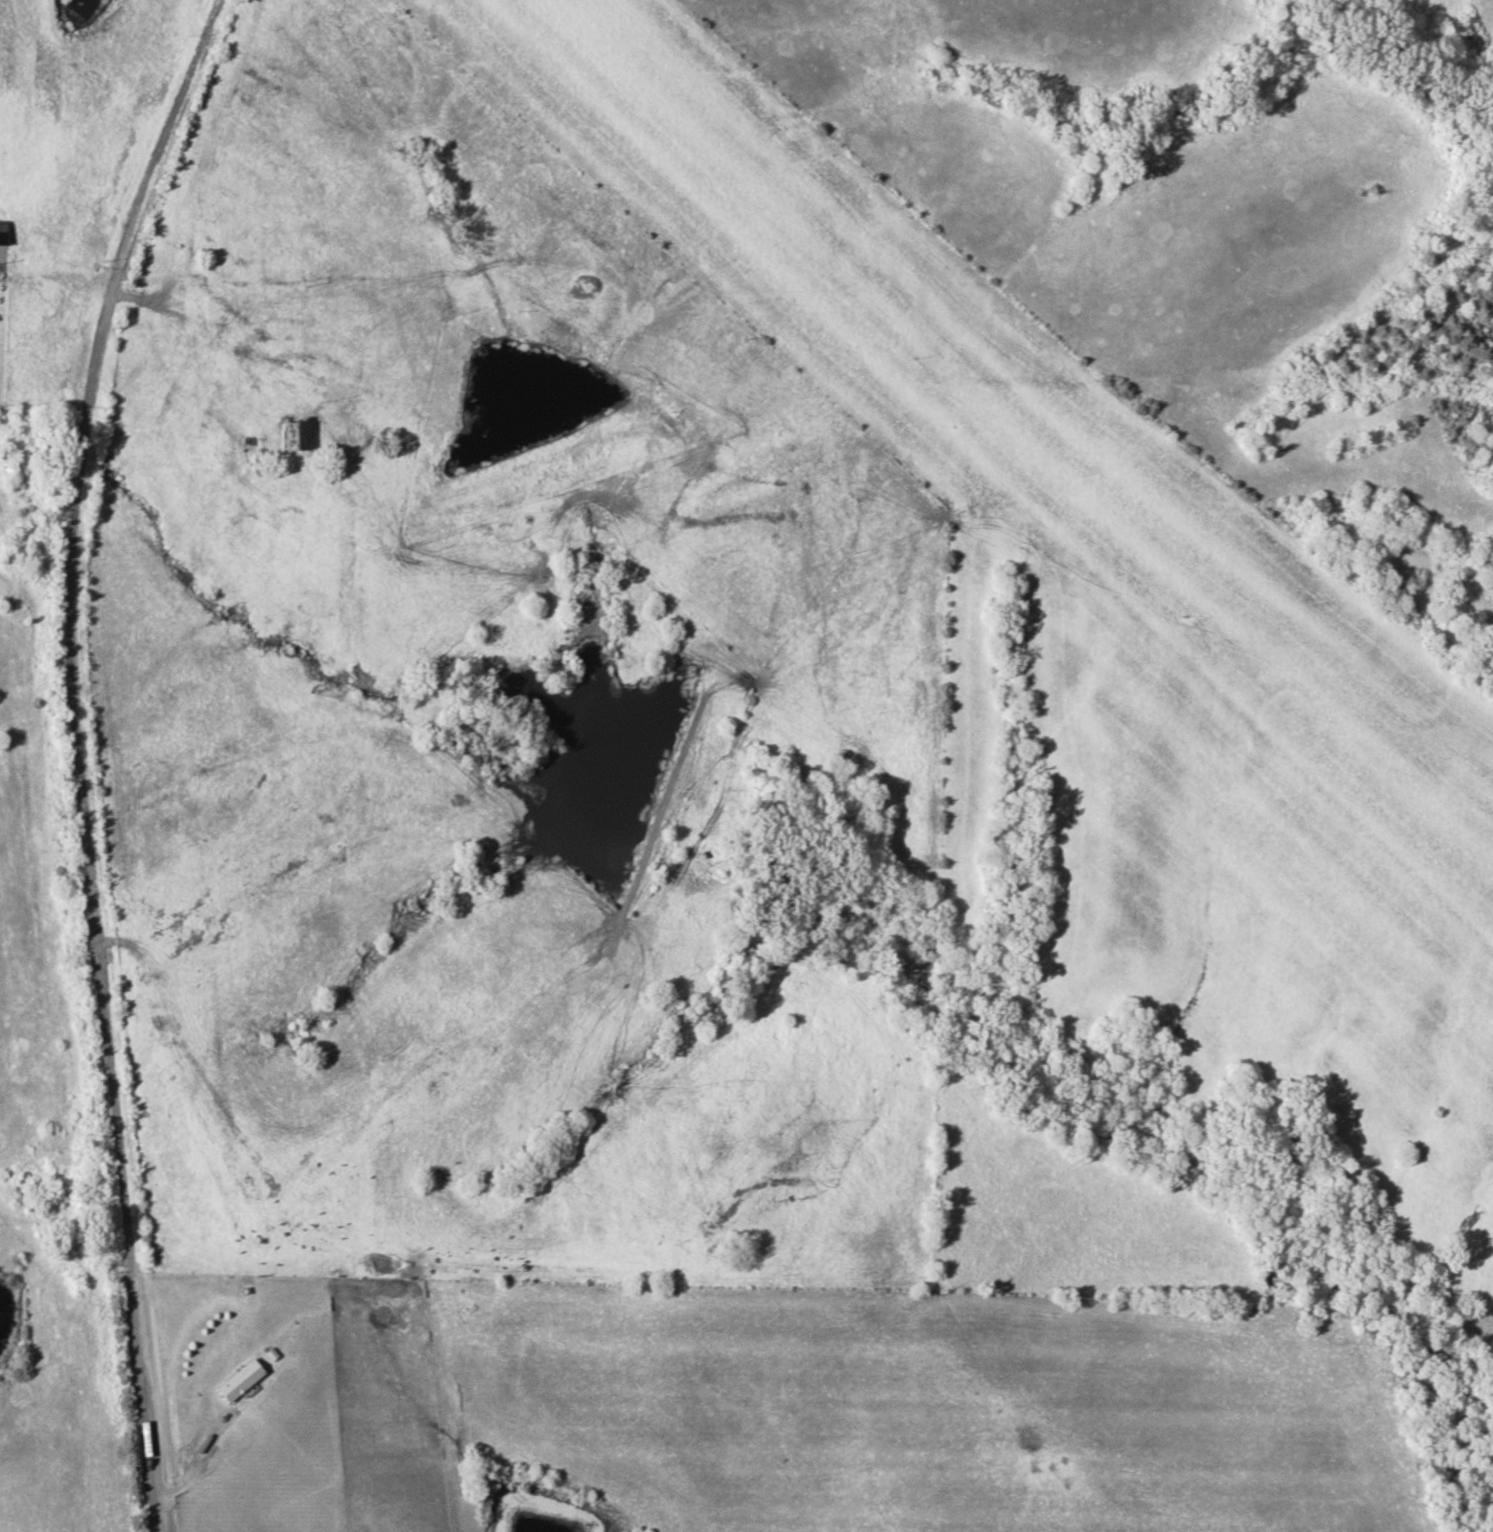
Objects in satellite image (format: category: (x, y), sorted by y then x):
building: (297, 432)
road: (79, 755)
building: (243, 1379)

